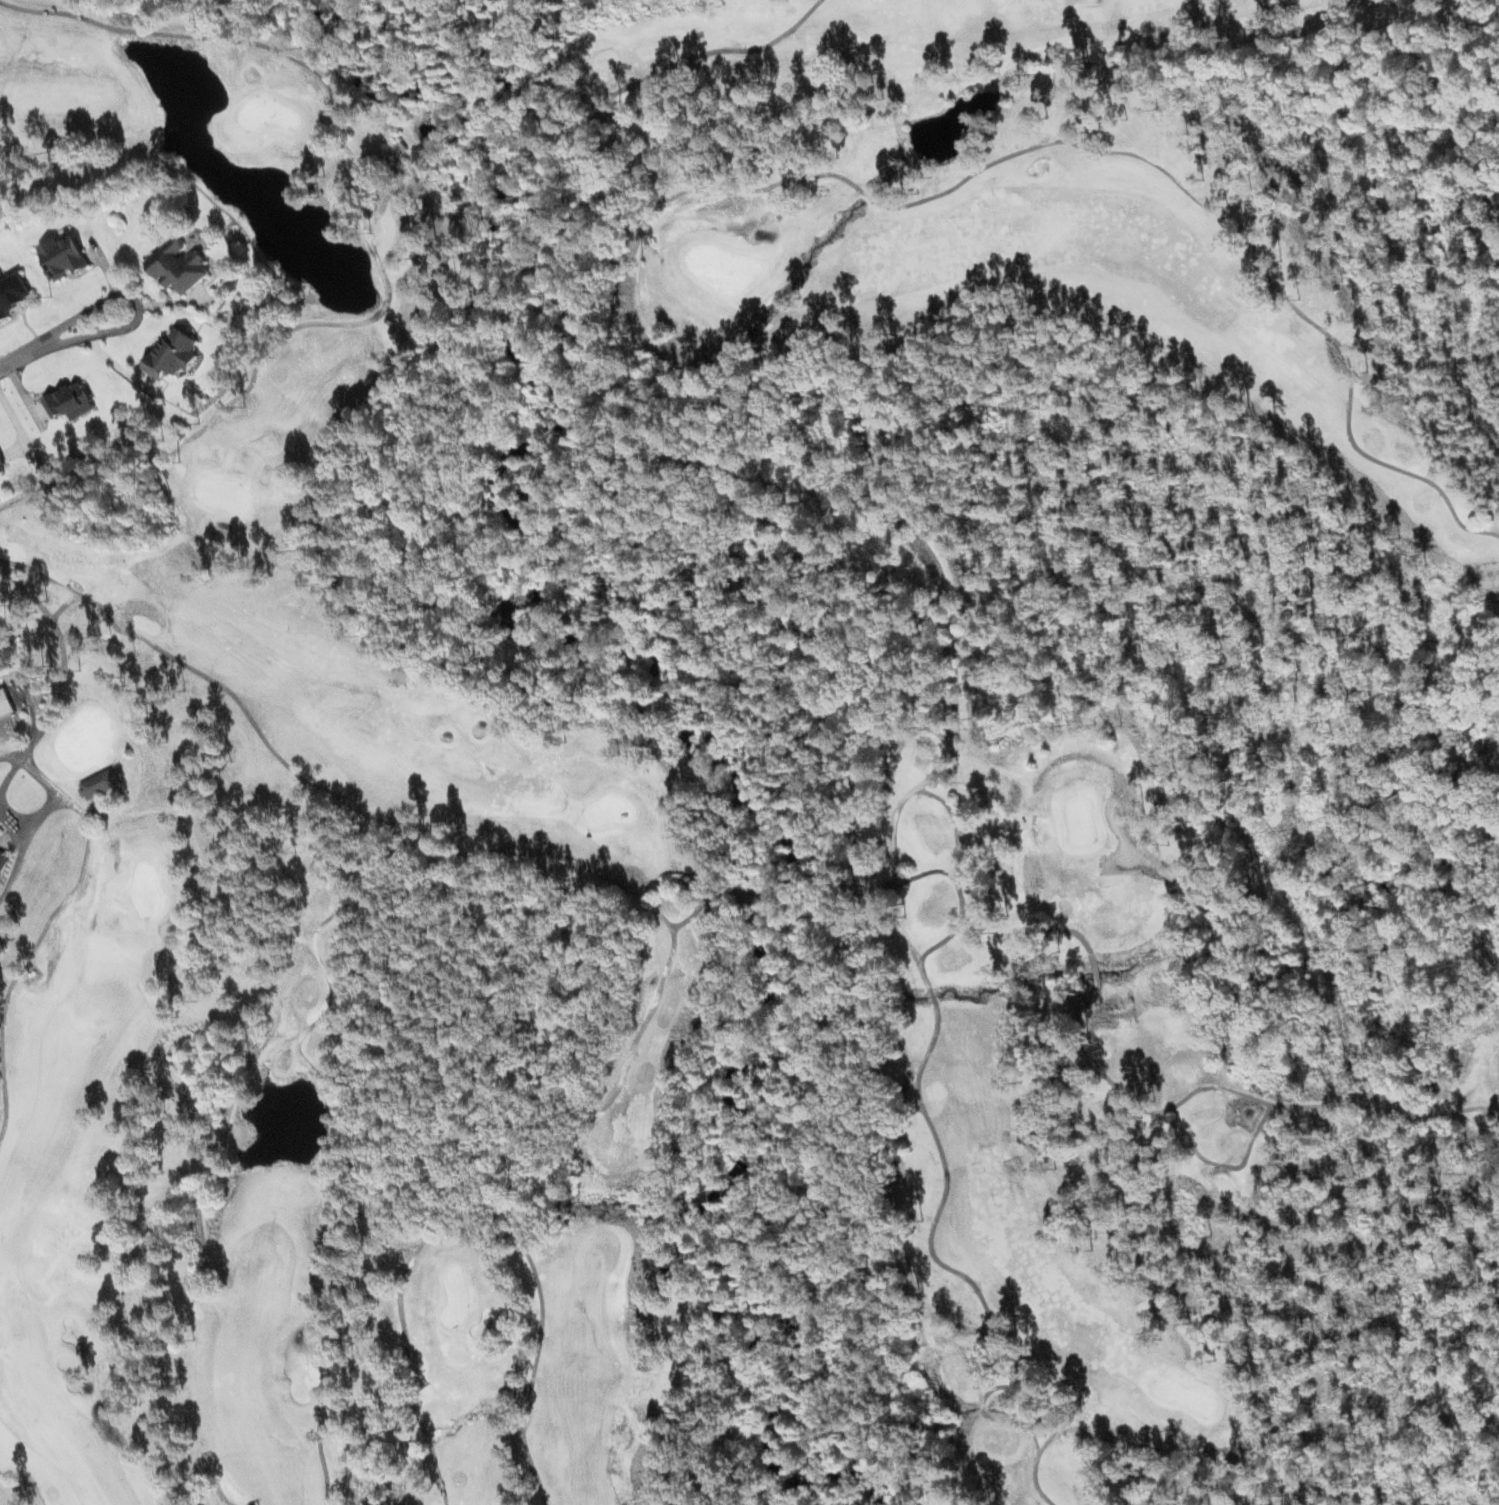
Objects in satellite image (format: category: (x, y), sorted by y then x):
building: (65, 256)
building: (179, 267)
building: (13, 294)
road: (118, 320)
road: (21, 345)
building: (172, 354)
building: (70, 401)
building: (2, 466)
building: (6, 703)
park: (768, 736)
building: (3, 863)

